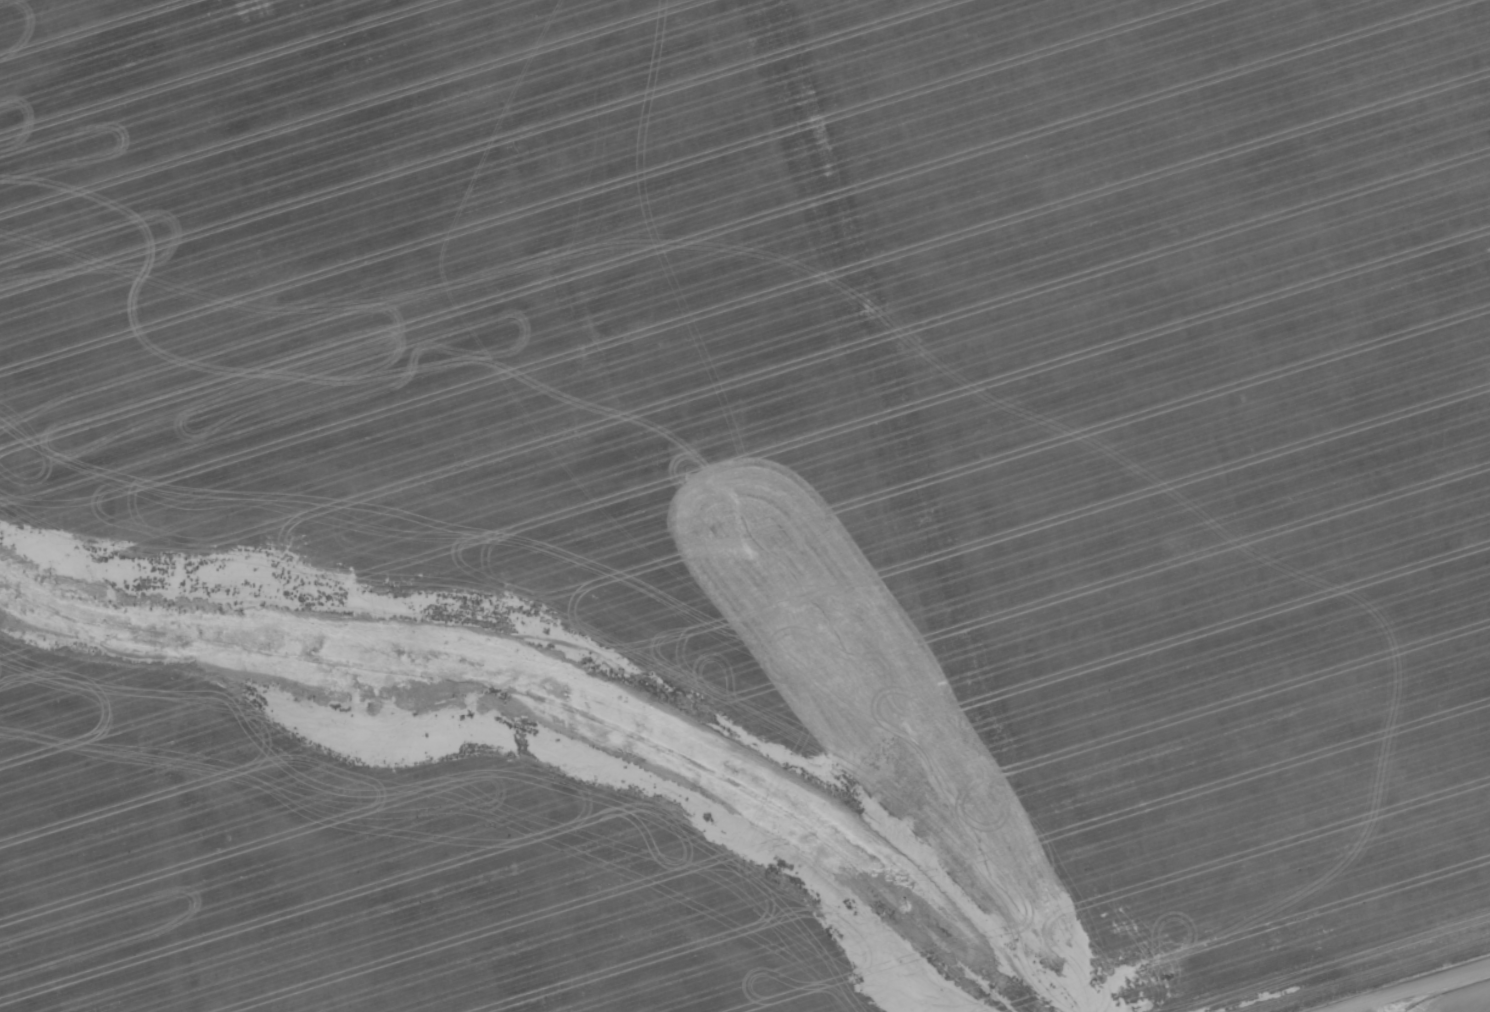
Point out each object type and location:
road: (1410, 987)

